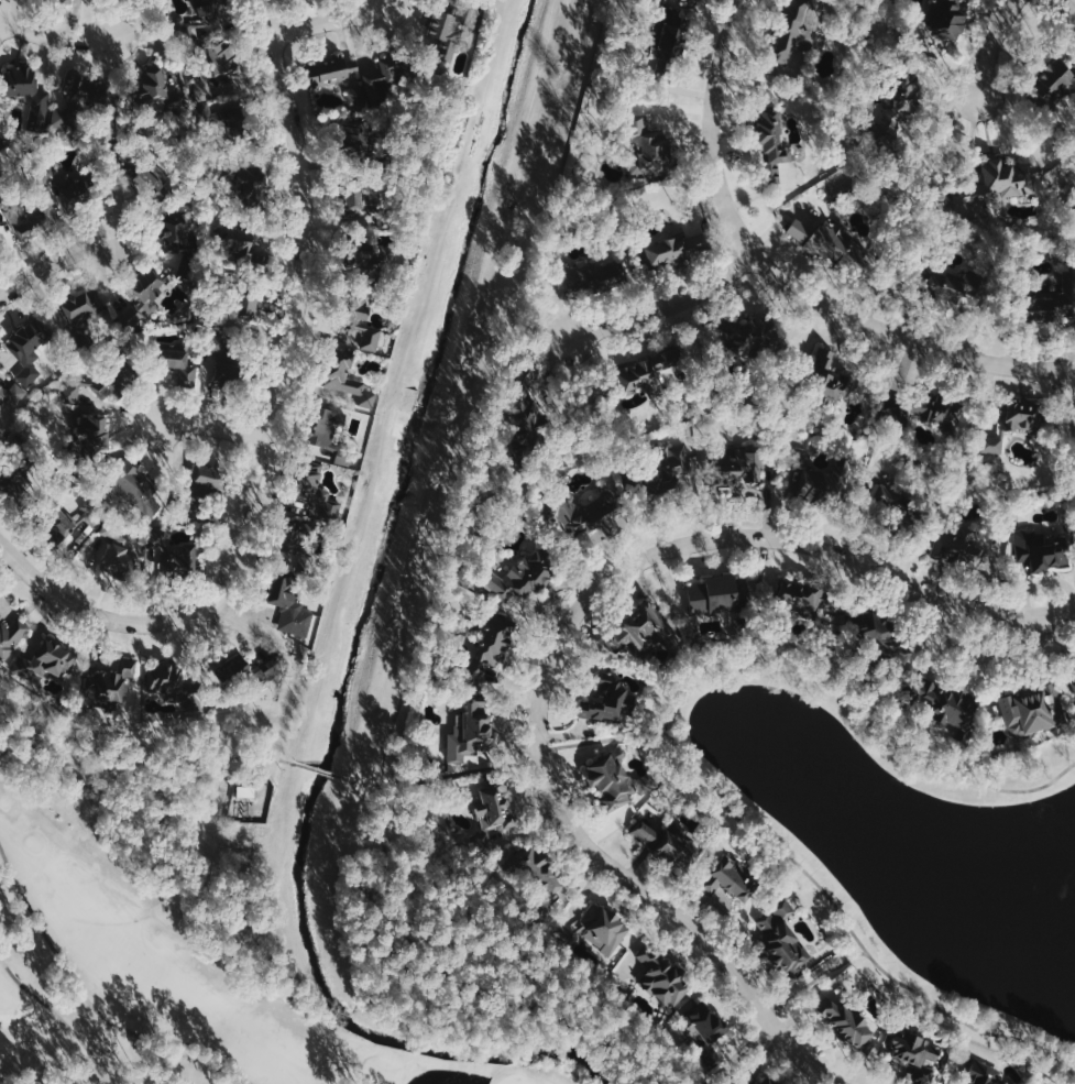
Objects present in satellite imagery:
building: (64, 1)
road: (1069, 4)
building: (213, 11)
road: (6, 13)
building: (947, 19)
road: (330, 21)
building: (182, 23)
building: (451, 29)
building: (801, 31)
road: (57, 40)
building: (671, 47)
road: (992, 47)
building: (218, 68)
building: (340, 77)
building: (384, 77)
building: (20, 81)
building: (1056, 81)
building: (154, 88)
building: (217, 116)
road: (712, 131)
building: (772, 132)
building: (356, 136)
building: (648, 147)
building: (3, 152)
building: (67, 183)
building: (153, 183)
building: (250, 185)
building: (989, 190)
building: (359, 204)
building: (30, 218)
building: (176, 232)
building: (830, 241)
building: (238, 244)
building: (674, 249)
building: (364, 253)
road: (54, 264)
building: (597, 275)
building: (954, 288)
building: (142, 296)
building: (1052, 297)
road: (669, 303)
building: (86, 306)
building: (246, 306)
road: (297, 307)
building: (362, 325)
road: (904, 340)
building: (219, 343)
building: (30, 349)
building: (177, 369)
building: (650, 369)
building: (228, 375)
building: (347, 376)
building: (112, 381)
building: (830, 382)
building: (12, 394)
building: (527, 409)
building: (922, 412)
building: (1024, 416)
road: (211, 428)
building: (328, 428)
building: (91, 441)
building: (994, 445)
building: (344, 459)
building: (676, 461)
building: (741, 468)
building: (209, 477)
building: (820, 479)
building: (12, 484)
building: (135, 489)
building: (316, 490)
building: (190, 504)
building: (896, 504)
building: (581, 515)
building: (58, 523)
building: (308, 528)
road: (438, 530)
building: (959, 549)
building: (1043, 549)
building: (179, 555)
building: (294, 556)
road: (849, 558)
building: (119, 560)
building: (520, 578)
building: (281, 587)
building: (719, 595)
road: (96, 613)
building: (639, 629)
building: (11, 635)
building: (884, 637)
building: (493, 652)
road: (991, 657)
building: (44, 659)
building: (249, 669)
building: (1071, 669)
road: (300, 672)
building: (165, 679)
building: (105, 688)
building: (610, 699)
building: (945, 702)
building: (1034, 710)
building: (469, 724)
road: (605, 743)
road: (678, 751)
road: (141, 762)
road: (322, 769)
road: (460, 773)
building: (618, 780)
building: (246, 792)
building: (495, 802)
building: (669, 845)
road: (597, 855)
building: (534, 866)
building: (730, 879)
building: (601, 928)
building: (785, 939)
park: (188, 962)
road: (446, 974)
building: (660, 976)
road: (816, 977)
road: (89, 1003)
road: (61, 1015)
building: (847, 1022)
building: (704, 1029)
building: (914, 1052)
building: (984, 1074)
park: (514, 1080)
building: (767, 1080)
building: (737, 1081)

